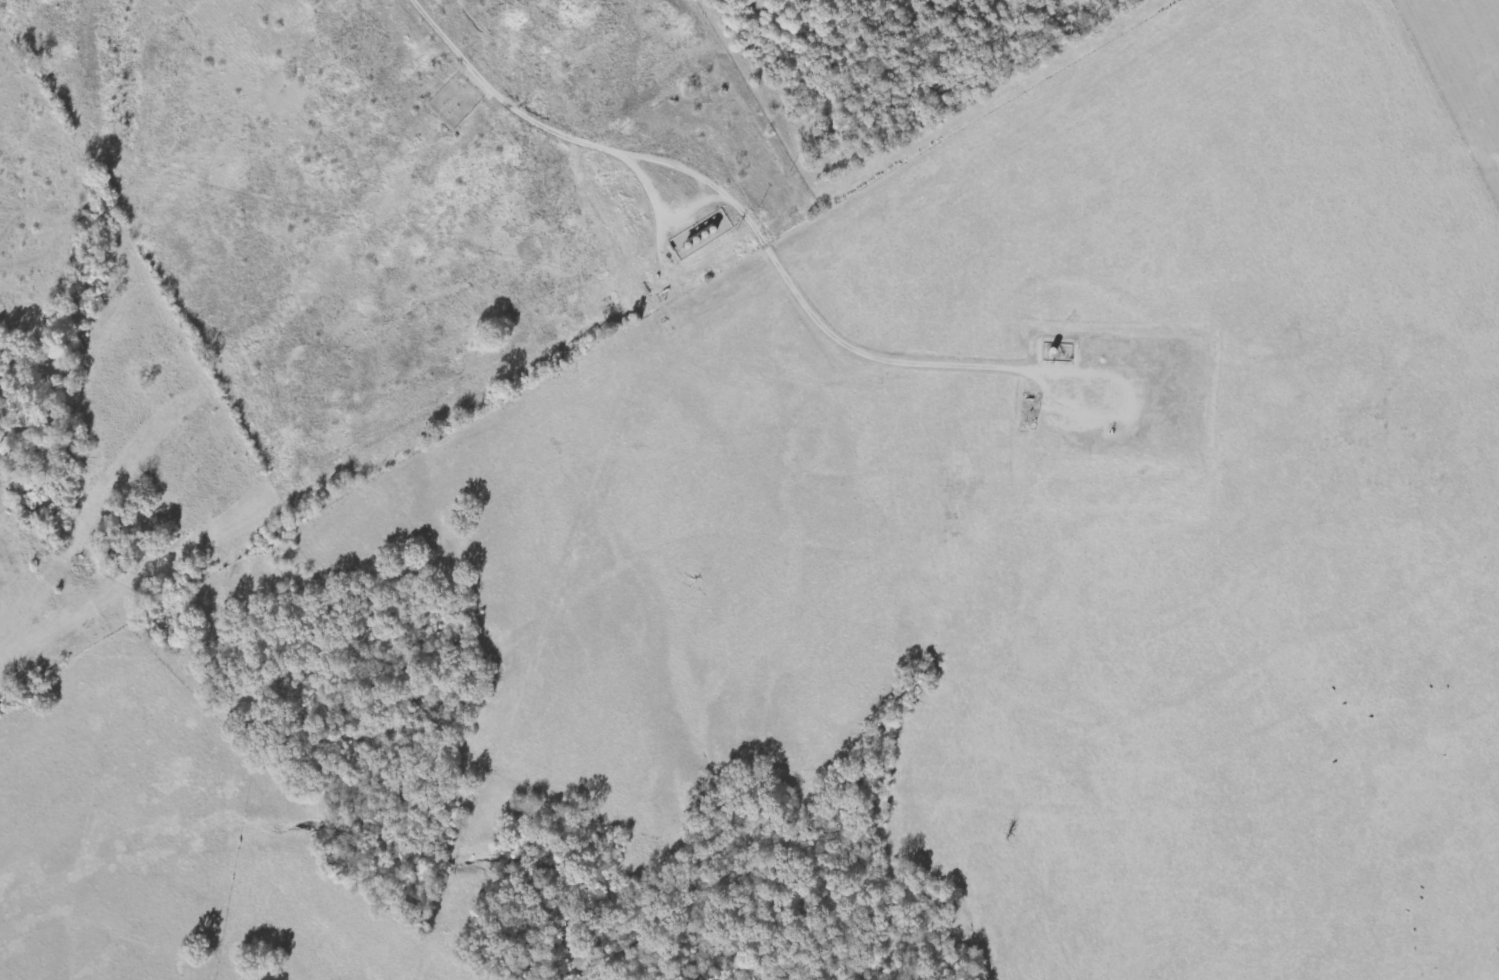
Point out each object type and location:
road: (382, 7)
dam: (1495, 954)

